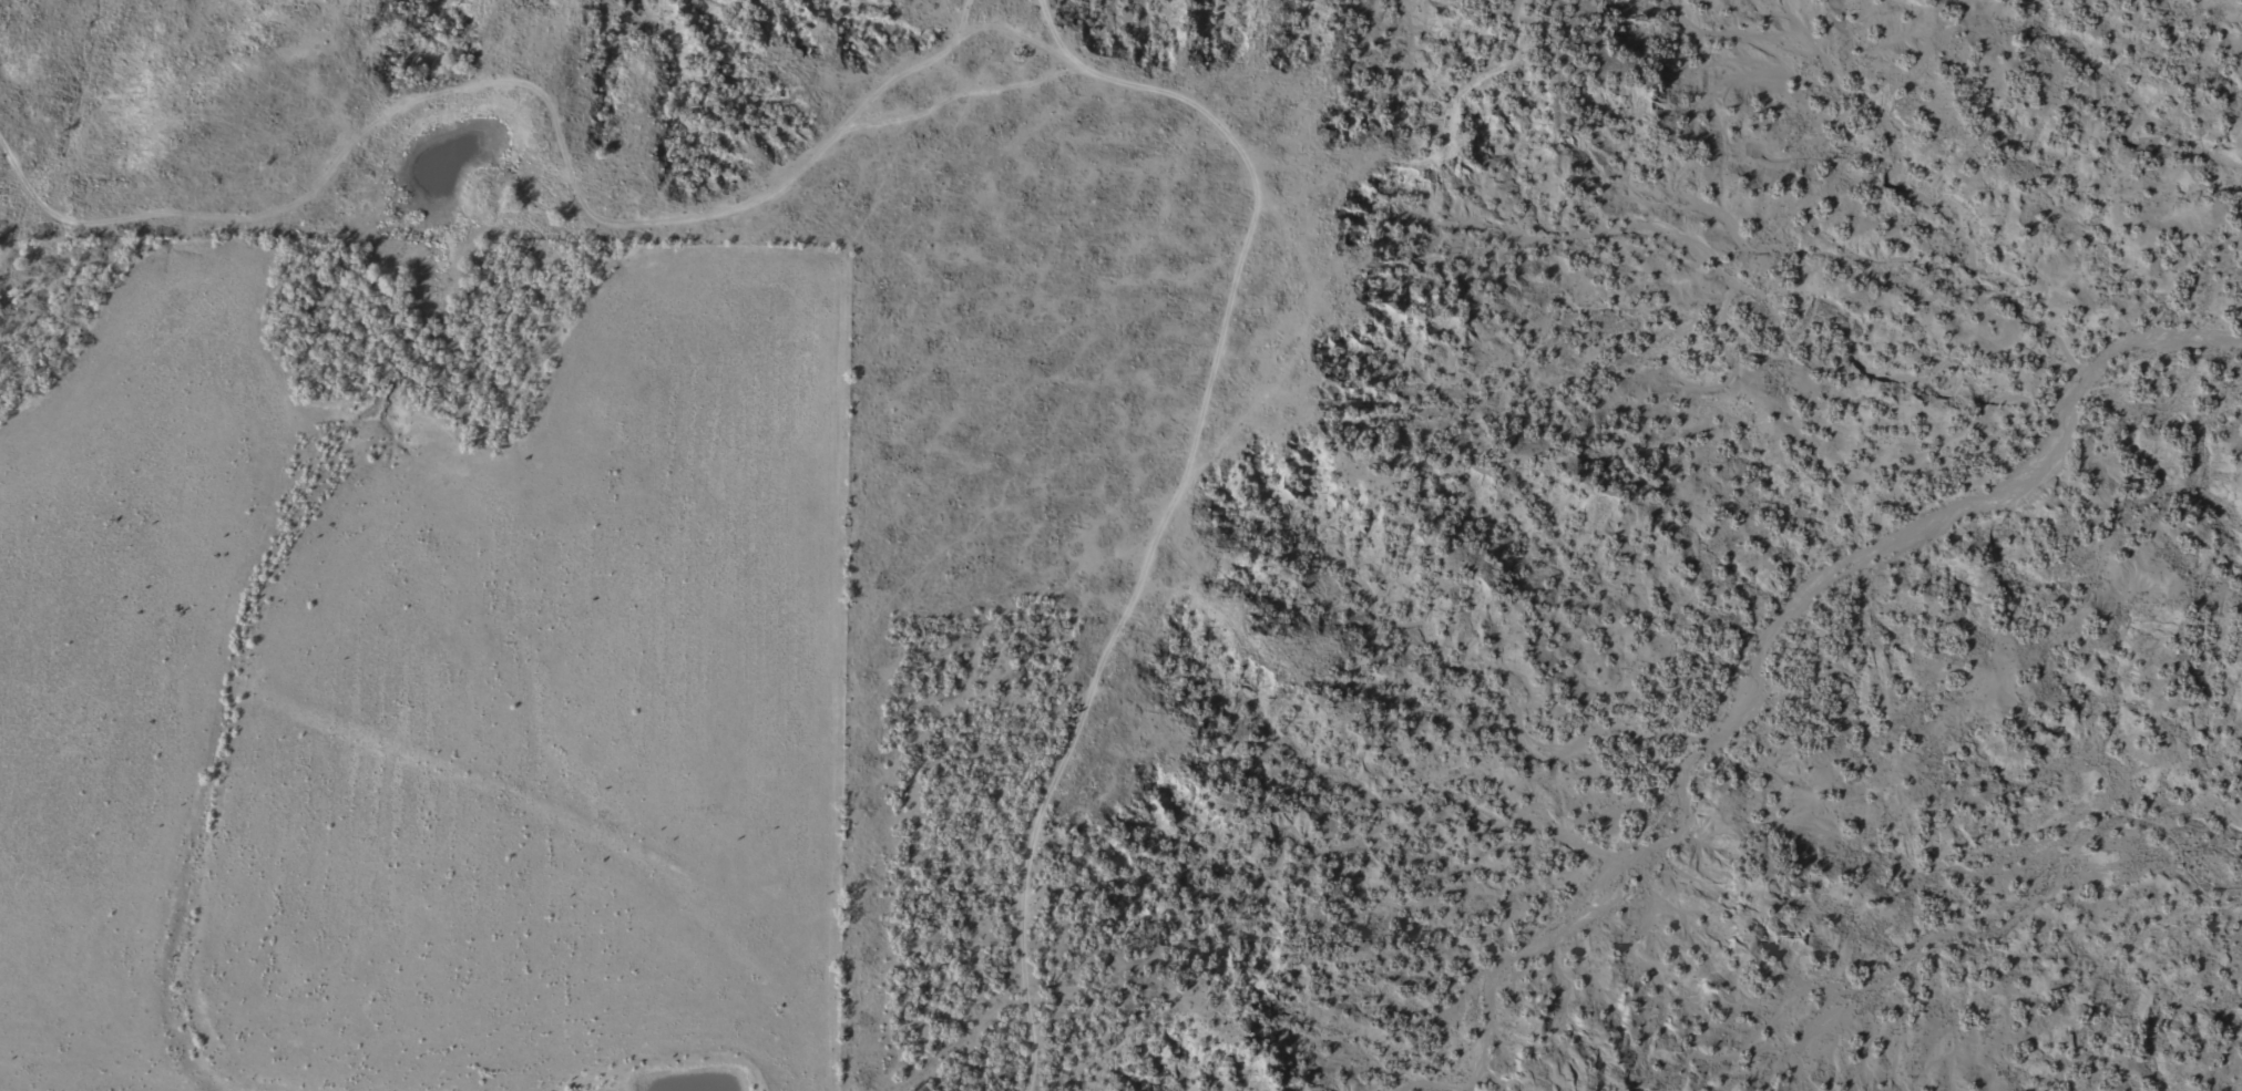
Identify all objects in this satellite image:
road: (168, 566)

